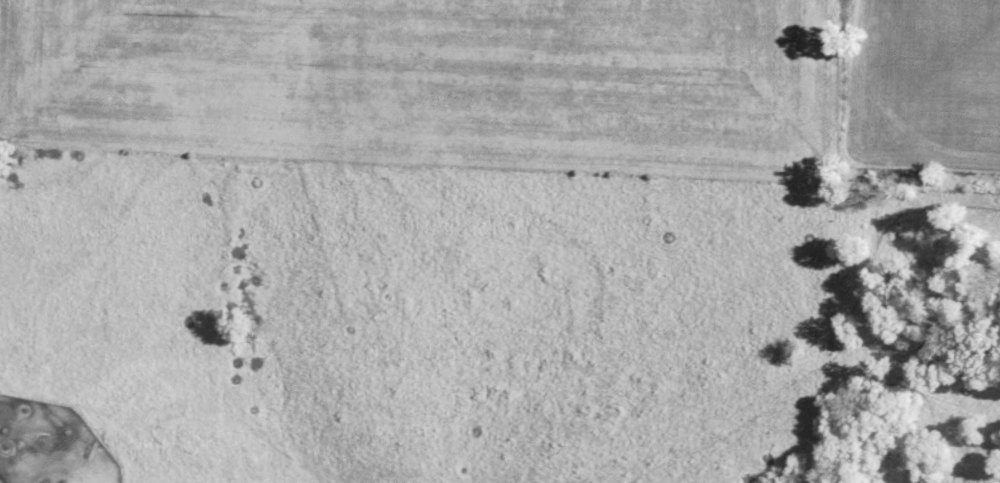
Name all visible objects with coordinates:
airport runway: (922, 142)

